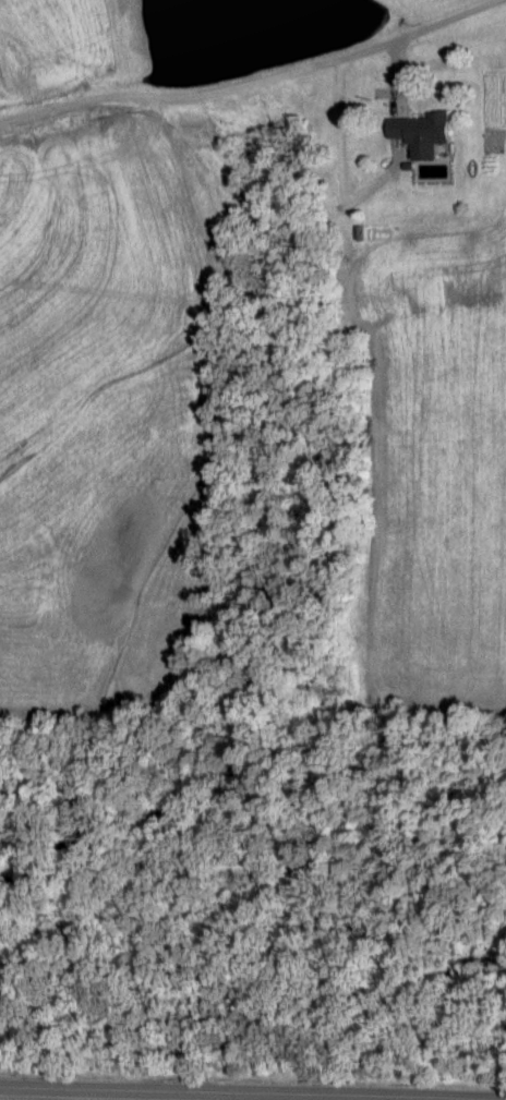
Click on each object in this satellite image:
road: (254, 83)
building: (421, 135)
road: (230, 1092)

